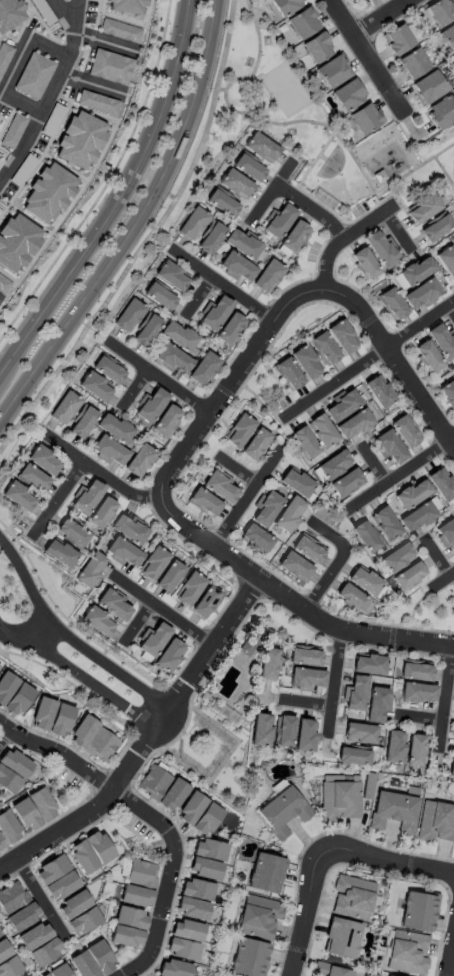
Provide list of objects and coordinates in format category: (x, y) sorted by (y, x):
building: (92, 0)
building: (353, 0)
building: (356, 0)
building: (125, 4)
building: (286, 6)
parking lot: (45, 14)
road: (97, 14)
building: (438, 14)
building: (8, 15)
road: (62, 16)
road: (383, 18)
road: (135, 24)
building: (303, 24)
building: (119, 29)
building: (448, 38)
road: (12, 40)
road: (258, 40)
building: (398, 40)
road: (105, 42)
building: (318, 49)
building: (4, 54)
road: (368, 57)
building: (413, 64)
building: (111, 66)
road: (14, 67)
building: (334, 72)
building: (34, 74)
road: (90, 83)
park: (287, 86)
building: (428, 87)
road: (221, 88)
road: (49, 93)
building: (348, 96)
road: (224, 97)
building: (98, 101)
parking lot: (4, 109)
building: (441, 112)
building: (364, 119)
road: (56, 127)
road: (391, 129)
building: (13, 130)
building: (77, 139)
road: (391, 139)
building: (262, 148)
parking lot: (3, 156)
road: (316, 157)
parking lot: (29, 158)
park: (332, 163)
road: (358, 164)
building: (249, 167)
road: (64, 168)
road: (453, 169)
road: (443, 173)
building: (380, 176)
road: (379, 177)
building: (236, 184)
road: (79, 190)
road: (272, 192)
building: (47, 193)
road: (116, 197)
building: (221, 202)
building: (423, 208)
road: (311, 209)
road: (30, 219)
building: (281, 221)
building: (193, 224)
road: (137, 225)
building: (436, 230)
road: (396, 231)
building: (294, 237)
building: (210, 238)
road: (344, 238)
road: (147, 239)
park: (153, 239)
building: (16, 240)
building: (453, 241)
building: (241, 243)
building: (380, 248)
building: (448, 262)
building: (366, 265)
building: (238, 266)
building: (418, 272)
building: (170, 274)
building: (268, 276)
building: (3, 283)
road: (224, 285)
building: (159, 294)
building: (421, 295)
road: (201, 298)
building: (393, 307)
road: (451, 311)
building: (217, 313)
building: (128, 316)
building: (230, 329)
building: (148, 331)
building: (179, 336)
building: (343, 339)
building: (441, 342)
building: (324, 350)
building: (428, 357)
building: (175, 360)
road: (366, 362)
building: (307, 364)
road: (395, 364)
building: (205, 369)
building: (109, 371)
building: (290, 375)
road: (159, 380)
building: (94, 386)
road: (230, 386)
road: (135, 392)
building: (378, 393)
building: (449, 395)
building: (153, 405)
building: (64, 408)
building: (342, 409)
building: (167, 421)
building: (82, 422)
building: (352, 425)
building: (114, 428)
building: (240, 431)
building: (322, 432)
building: (404, 433)
building: (305, 444)
building: (257, 445)
building: (391, 448)
building: (111, 451)
building: (42, 458)
building: (139, 460)
road: (376, 464)
building: (332, 466)
road: (238, 469)
road: (100, 475)
road: (401, 475)
building: (32, 477)
building: (345, 483)
building: (295, 485)
building: (440, 487)
building: (221, 489)
building: (411, 495)
building: (89, 496)
building: (20, 497)
road: (58, 497)
road: (246, 497)
building: (204, 504)
building: (266, 511)
building: (103, 512)
building: (453, 514)
building: (289, 515)
building: (414, 518)
building: (452, 518)
building: (384, 525)
building: (129, 529)
building: (72, 534)
building: (363, 536)
building: (446, 536)
building: (257, 540)
building: (307, 550)
building: (125, 553)
building: (59, 554)
building: (394, 558)
road: (438, 558)
road: (338, 561)
building: (154, 564)
building: (294, 567)
building: (91, 570)
building: (170, 577)
building: (406, 577)
building: (362, 582)
road: (440, 582)
building: (190, 589)
building: (453, 593)
building: (453, 596)
building: (350, 598)
building: (205, 602)
road: (294, 603)
building: (115, 607)
road: (163, 610)
building: (97, 622)
road: (133, 623)
road: (40, 633)
road: (69, 638)
building: (155, 641)
building: (252, 641)
building: (170, 655)
building: (303, 656)
building: (266, 665)
building: (367, 665)
building: (412, 671)
road: (79, 676)
building: (306, 679)
road: (334, 681)
building: (7, 687)
building: (416, 694)
building: (353, 695)
road: (445, 697)
building: (19, 701)
road: (307, 703)
building: (373, 707)
building: (43, 715)
road: (421, 719)
building: (62, 721)
building: (259, 731)
building: (83, 732)
building: (283, 733)
road: (2, 734)
building: (359, 734)
building: (303, 736)
road: (146, 741)
building: (102, 747)
building: (393, 748)
building: (413, 751)
building: (453, 753)
road: (57, 758)
building: (351, 758)
building: (16, 765)
building: (451, 771)
building: (8, 782)
building: (152, 783)
building: (366, 786)
building: (171, 796)
building: (339, 798)
building: (42, 806)
building: (189, 808)
building: (281, 813)
building: (393, 813)
building: (25, 816)
building: (204, 819)
building: (437, 824)
building: (9, 829)
building: (2, 845)
building: (98, 847)
building: (207, 850)
building: (82, 858)
road: (394, 862)
road: (172, 864)
building: (203, 869)
building: (51, 870)
building: (265, 873)
building: (139, 875)
building: (60, 886)
building: (195, 890)
road: (38, 893)
building: (134, 897)
building: (11, 899)
building: (351, 899)
building: (73, 906)
road: (306, 907)
building: (189, 909)
building: (418, 913)
building: (128, 918)
building: (22, 919)
building: (257, 919)
building: (82, 921)
building: (185, 931)
building: (33, 937)
building: (125, 937)
building: (342, 939)
building: (180, 949)
building: (3, 952)
building: (43, 953)
building: (408, 954)
building: (99, 957)
building: (248, 958)
road: (451, 958)
building: (82, 966)
building: (9, 968)
road: (131, 968)
building: (172, 969)
building: (58, 971)
building: (328, 971)
building: (44, 975)
building: (386, 975)

